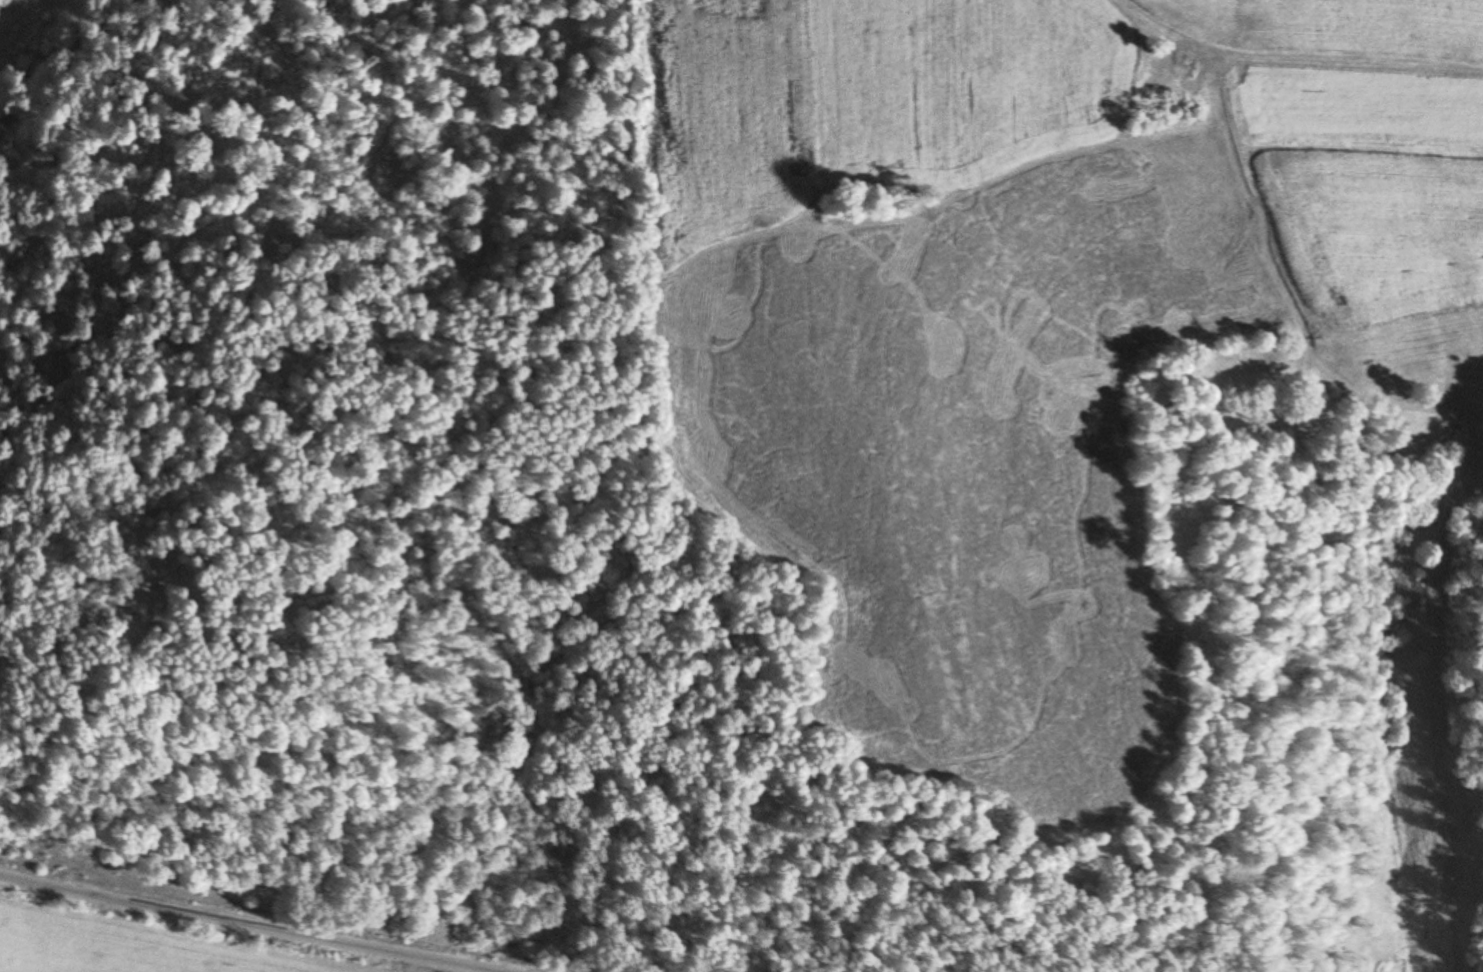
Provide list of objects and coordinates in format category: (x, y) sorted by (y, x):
crop: (1317, 26)
crop: (987, 91)
crop: (732, 113)
crop: (967, 449)
road: (240, 924)
crop: (161, 940)

